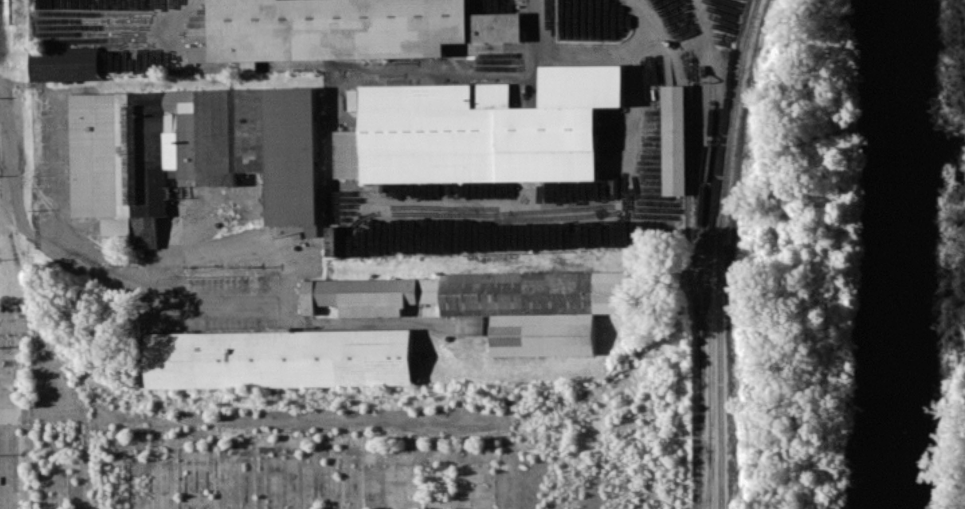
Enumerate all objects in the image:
building: (346, 28)
railway: (666, 38)
building: (65, 63)
building: (472, 130)
building: (675, 139)
railway: (685, 139)
building: (190, 153)
road: (600, 211)
railway: (700, 252)
railway: (719, 252)
road: (77, 266)
railway: (690, 276)
building: (492, 302)
building: (278, 359)
building: (417, 369)
railway: (710, 370)
park: (951, 429)
railway: (708, 478)

